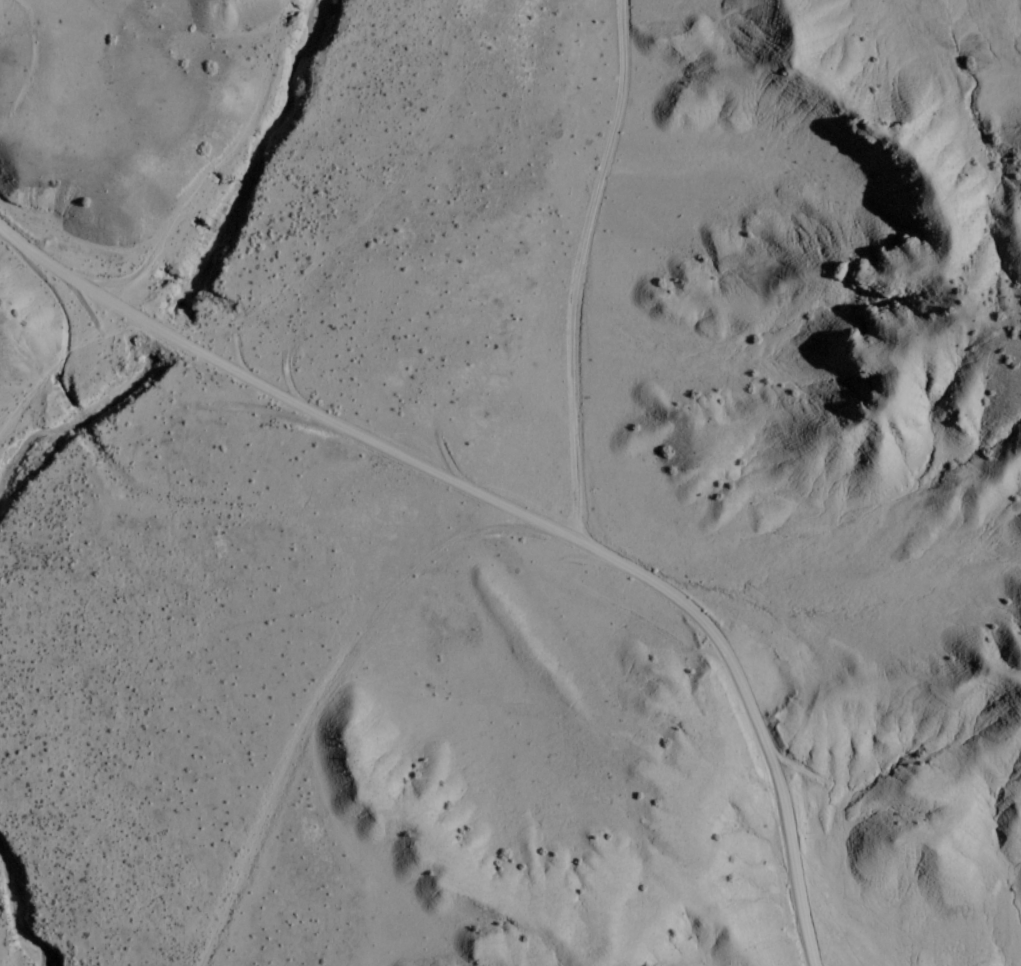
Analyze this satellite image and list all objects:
road: (578, 268)
road: (513, 510)

